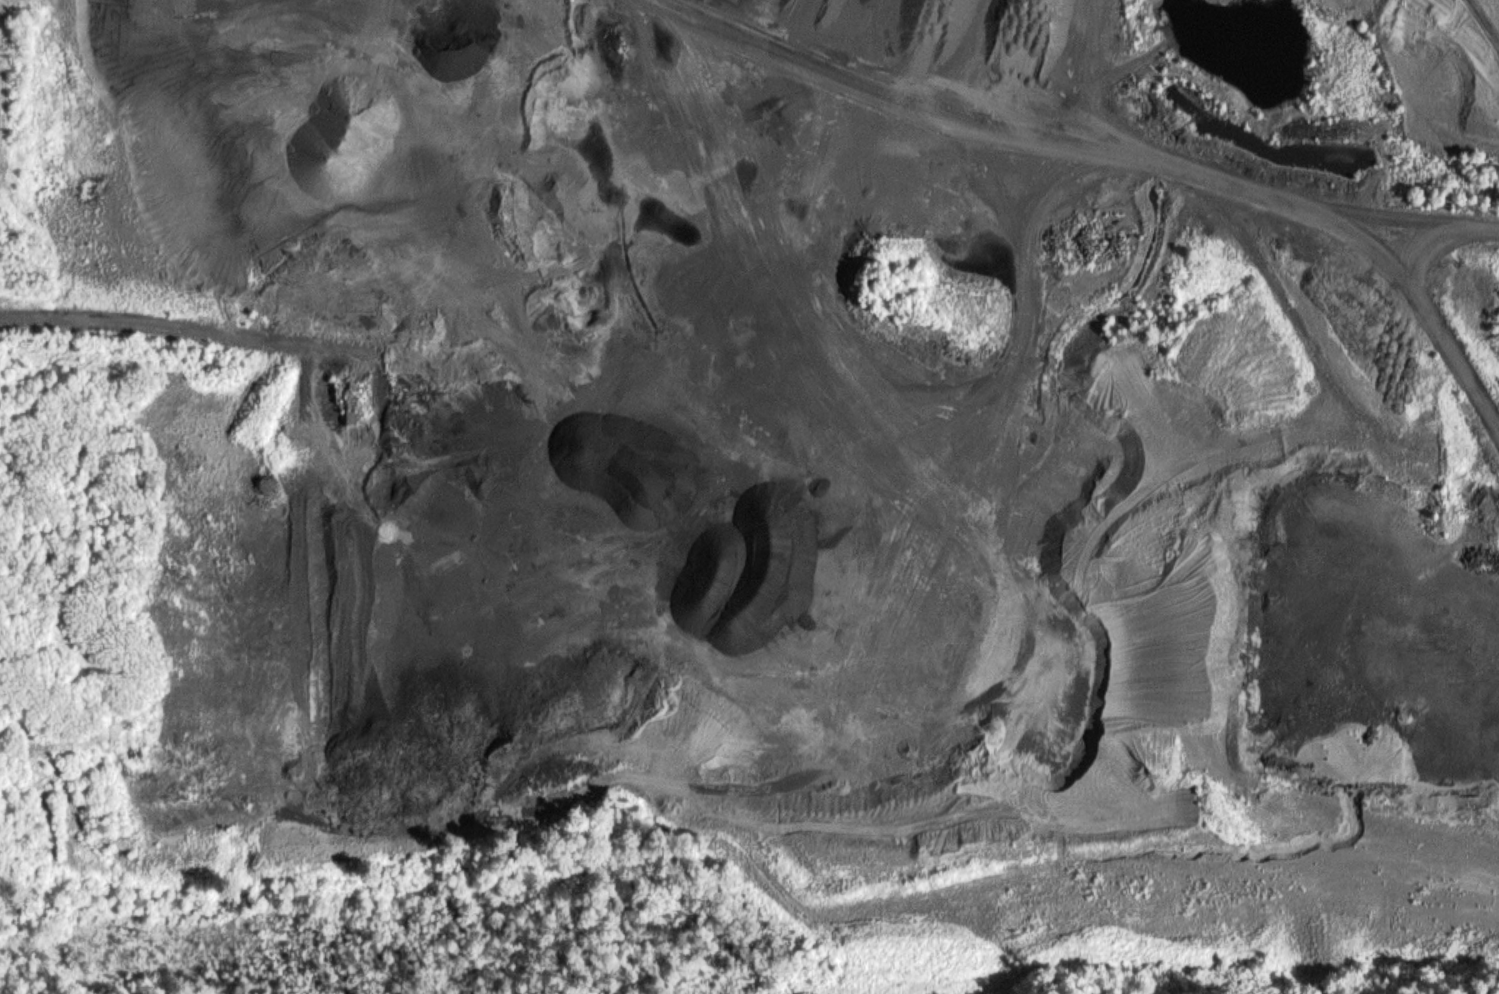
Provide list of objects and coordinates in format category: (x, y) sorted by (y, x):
road: (1223, 196)
road: (790, 399)

